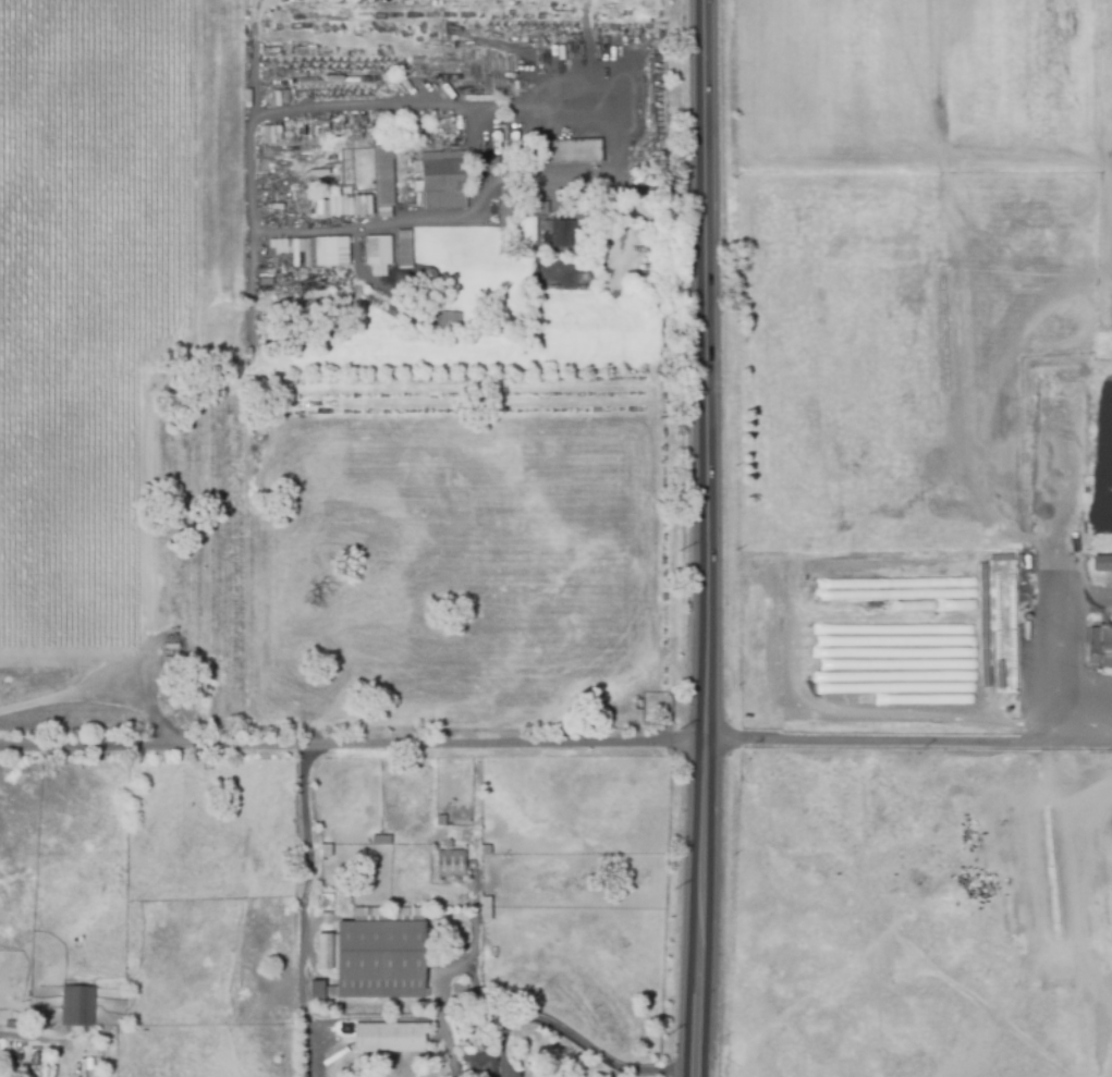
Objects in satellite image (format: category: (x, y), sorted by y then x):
road: (259, 10)
road: (585, 11)
road: (589, 41)
road: (253, 53)
road: (347, 82)
road: (558, 94)
road: (514, 109)
building: (269, 133)
building: (566, 152)
building: (491, 164)
road: (584, 170)
building: (381, 175)
building: (441, 178)
road: (258, 227)
building: (560, 233)
building: (402, 247)
building: (376, 254)
road: (247, 281)
road: (707, 538)
building: (998, 560)
building: (1102, 564)
building: (979, 628)
building: (1099, 647)
road: (1050, 664)
building: (995, 676)
road: (909, 741)
road: (354, 747)
building: (326, 852)
building: (487, 852)
building: (453, 865)
building: (486, 909)
road: (304, 913)
building: (363, 916)
building: (421, 916)
building: (374, 960)
building: (459, 994)
building: (76, 1007)
building: (389, 1039)
road: (572, 1039)
building: (478, 1063)
building: (30, 1066)
building: (526, 1072)
building: (536, 1075)

